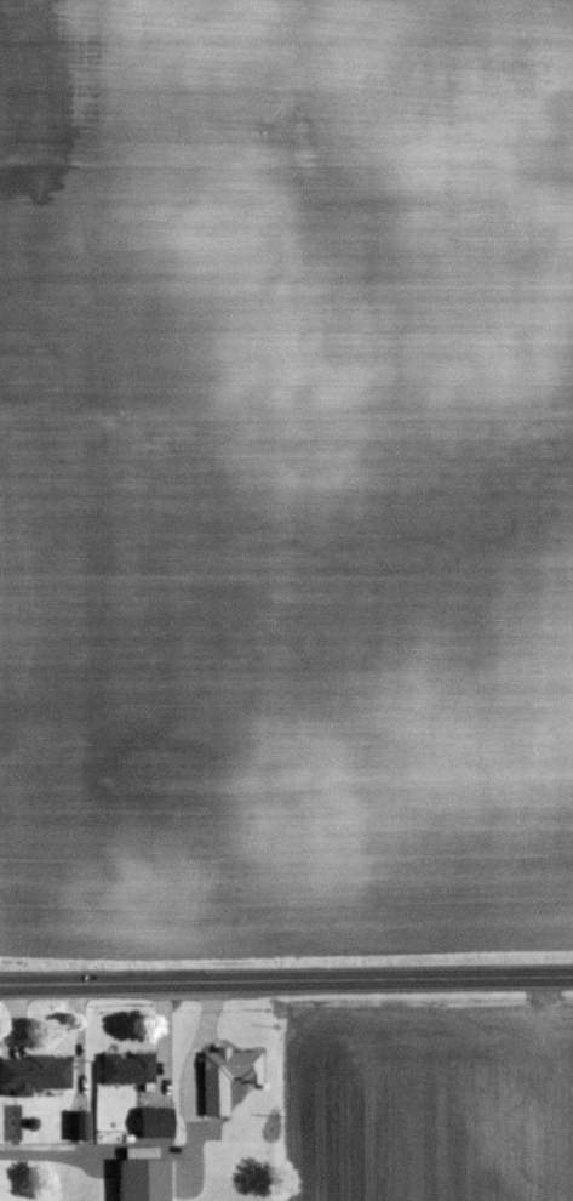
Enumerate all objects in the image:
road: (286, 979)
building: (128, 1068)
building: (34, 1074)
building: (227, 1075)
building: (156, 1122)
building: (80, 1126)
road: (39, 1157)
building: (143, 1179)

